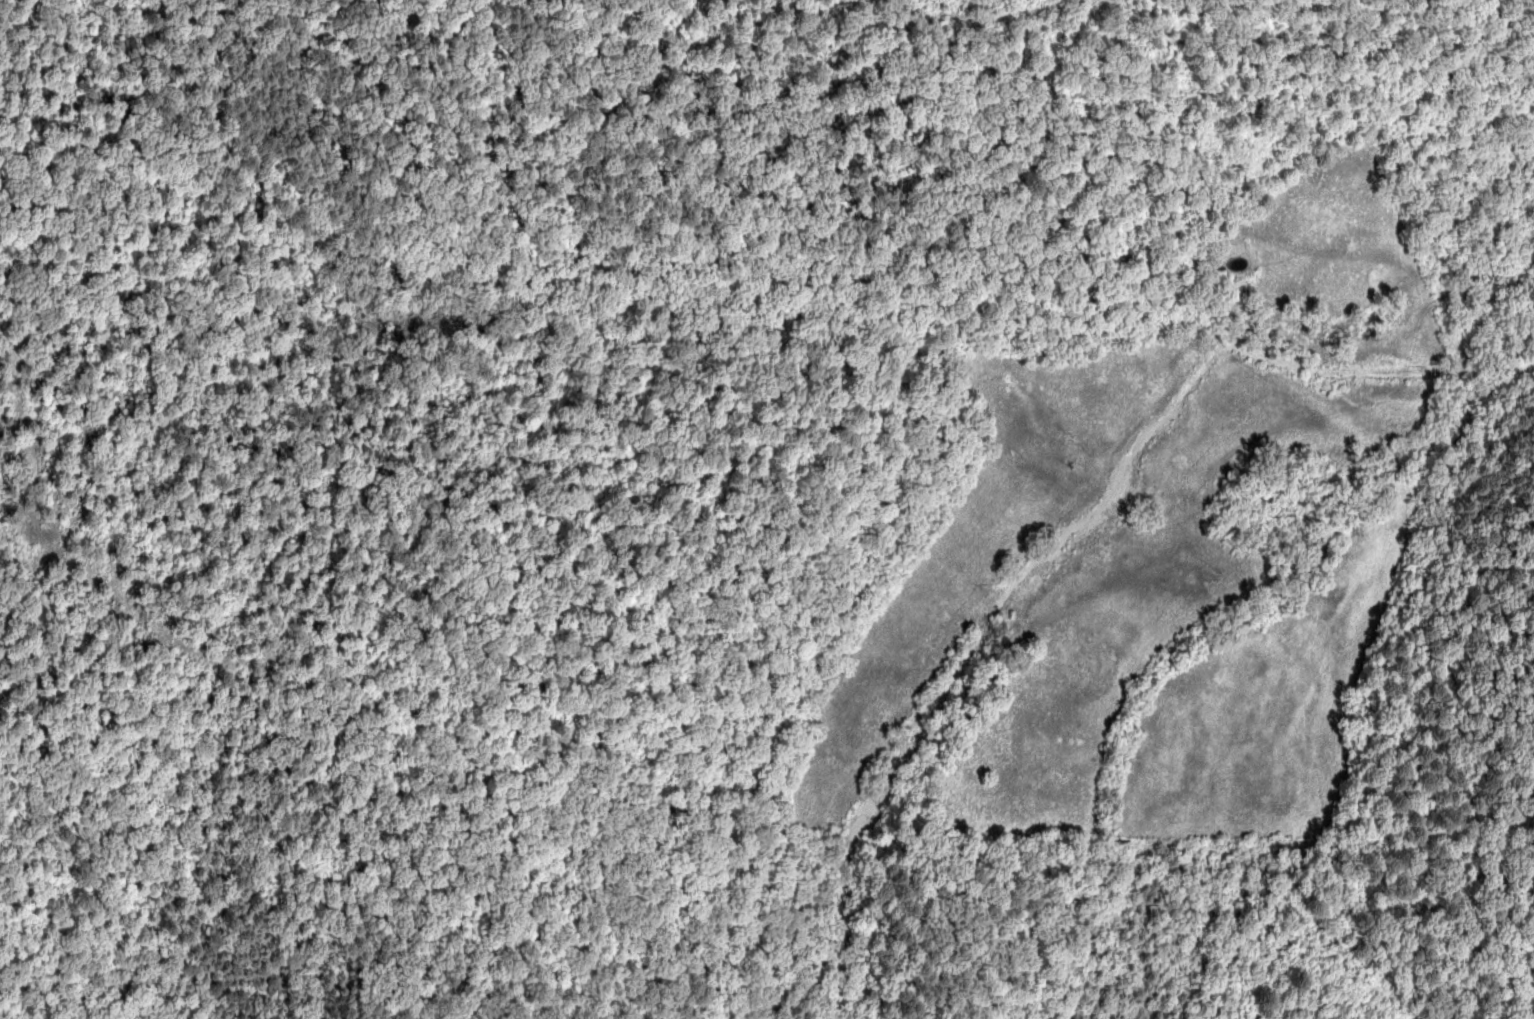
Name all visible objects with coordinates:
road: (1510, 861)

